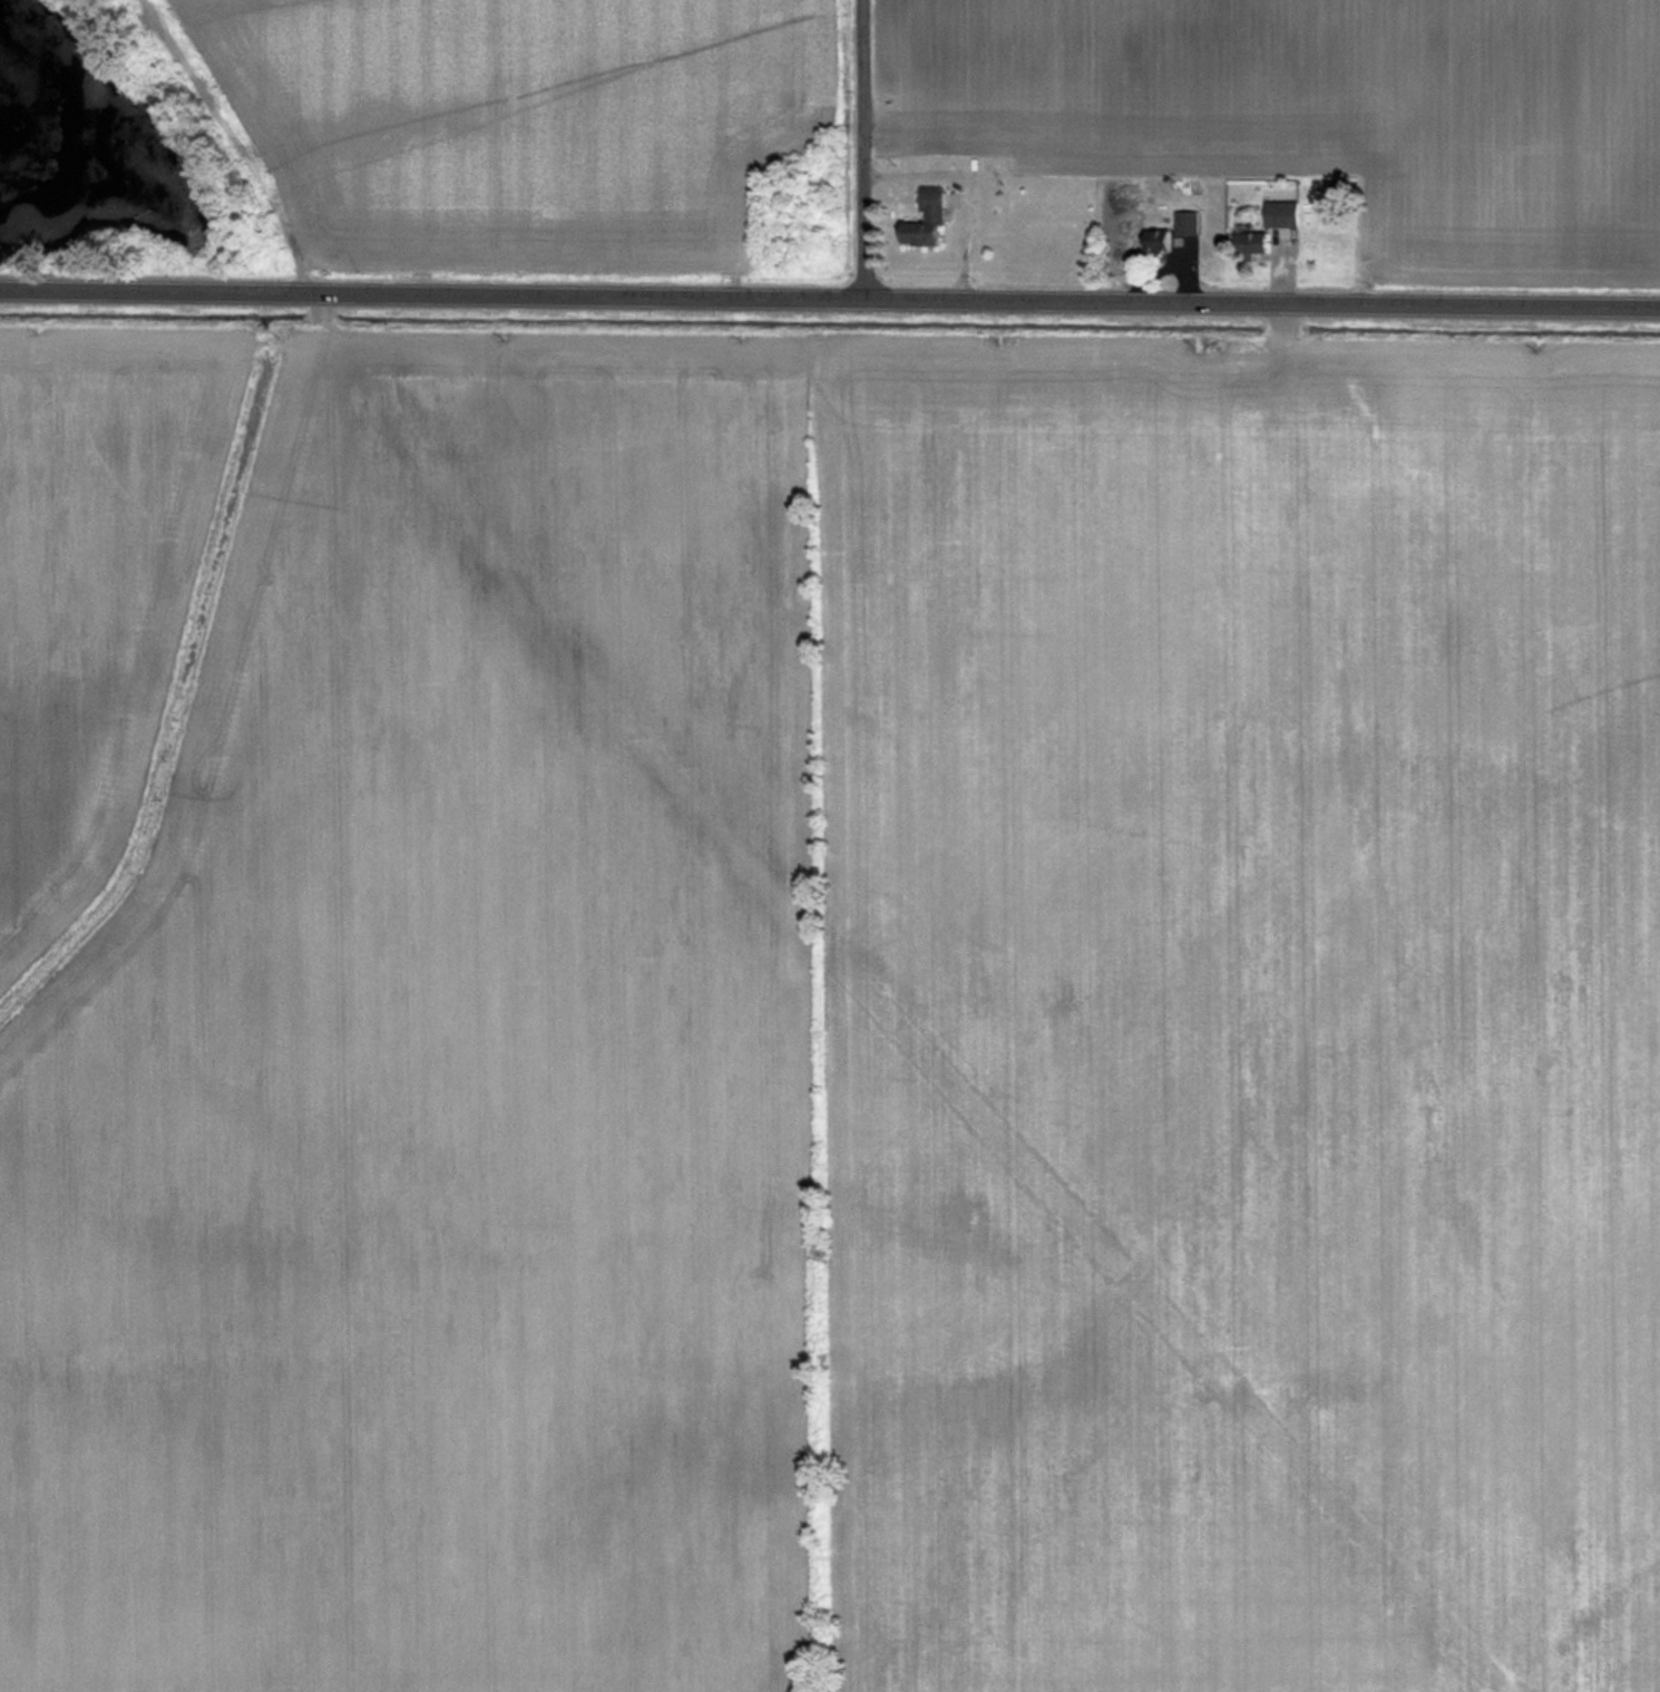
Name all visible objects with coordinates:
road: (857, 148)
building: (1282, 214)
building: (928, 220)
building: (1185, 223)
building: (1156, 241)
building: (1251, 242)
road: (829, 296)

